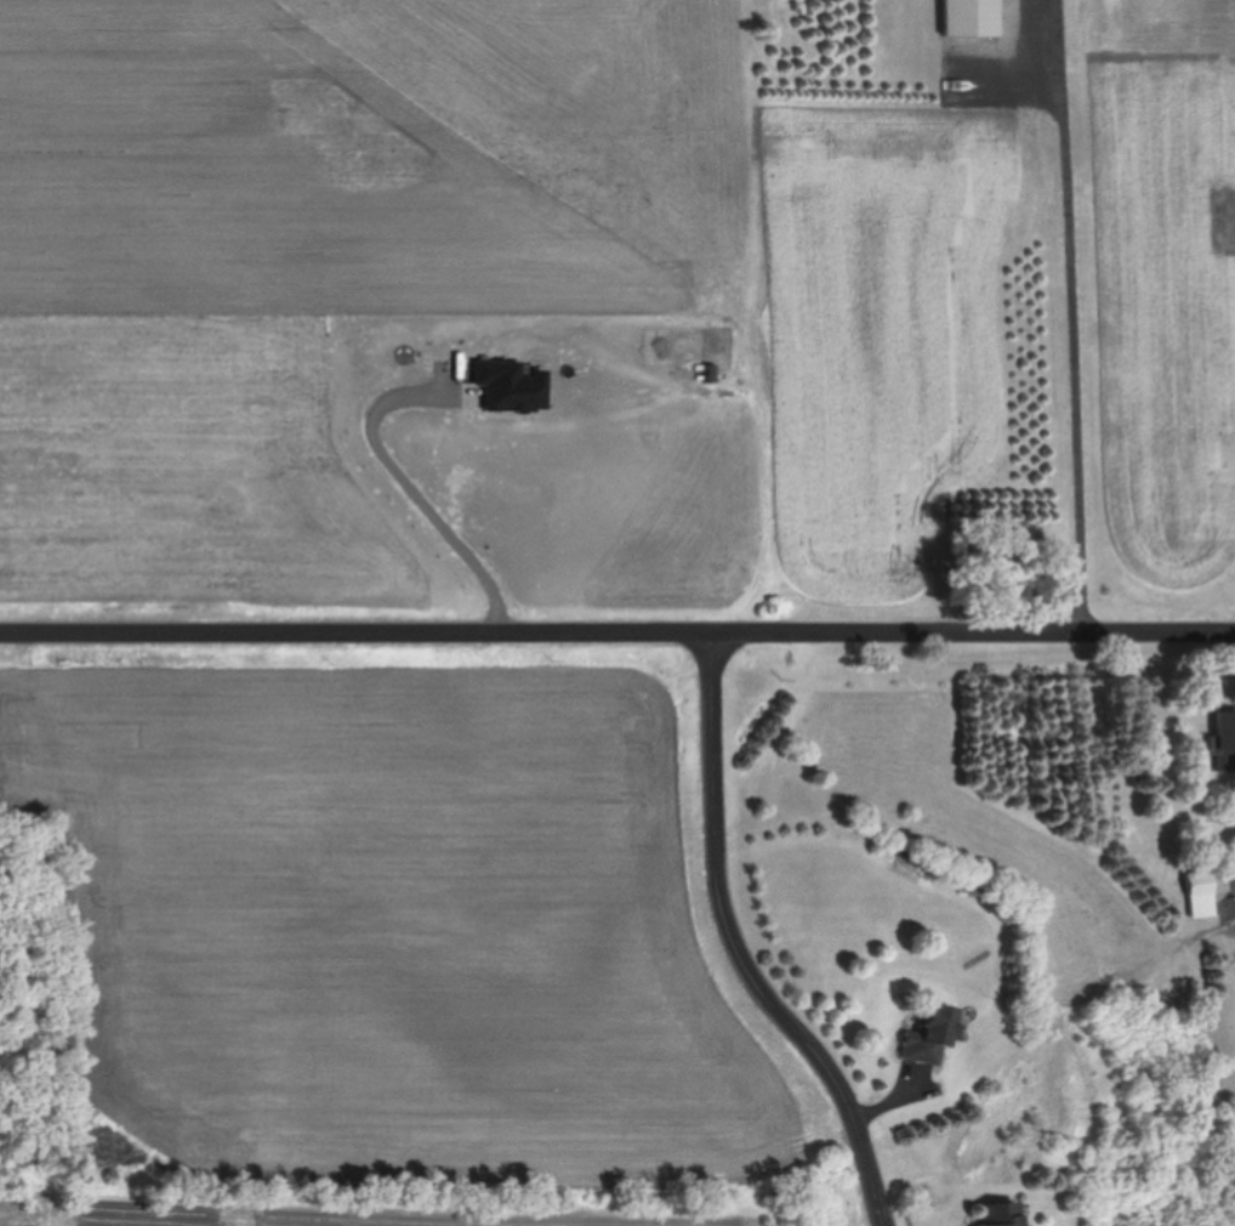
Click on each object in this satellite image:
building: (975, 17)
road: (1076, 314)
road: (417, 478)
road: (617, 626)
building: (1223, 739)
building: (1195, 893)
road: (741, 944)
building: (926, 1035)
building: (998, 1213)

